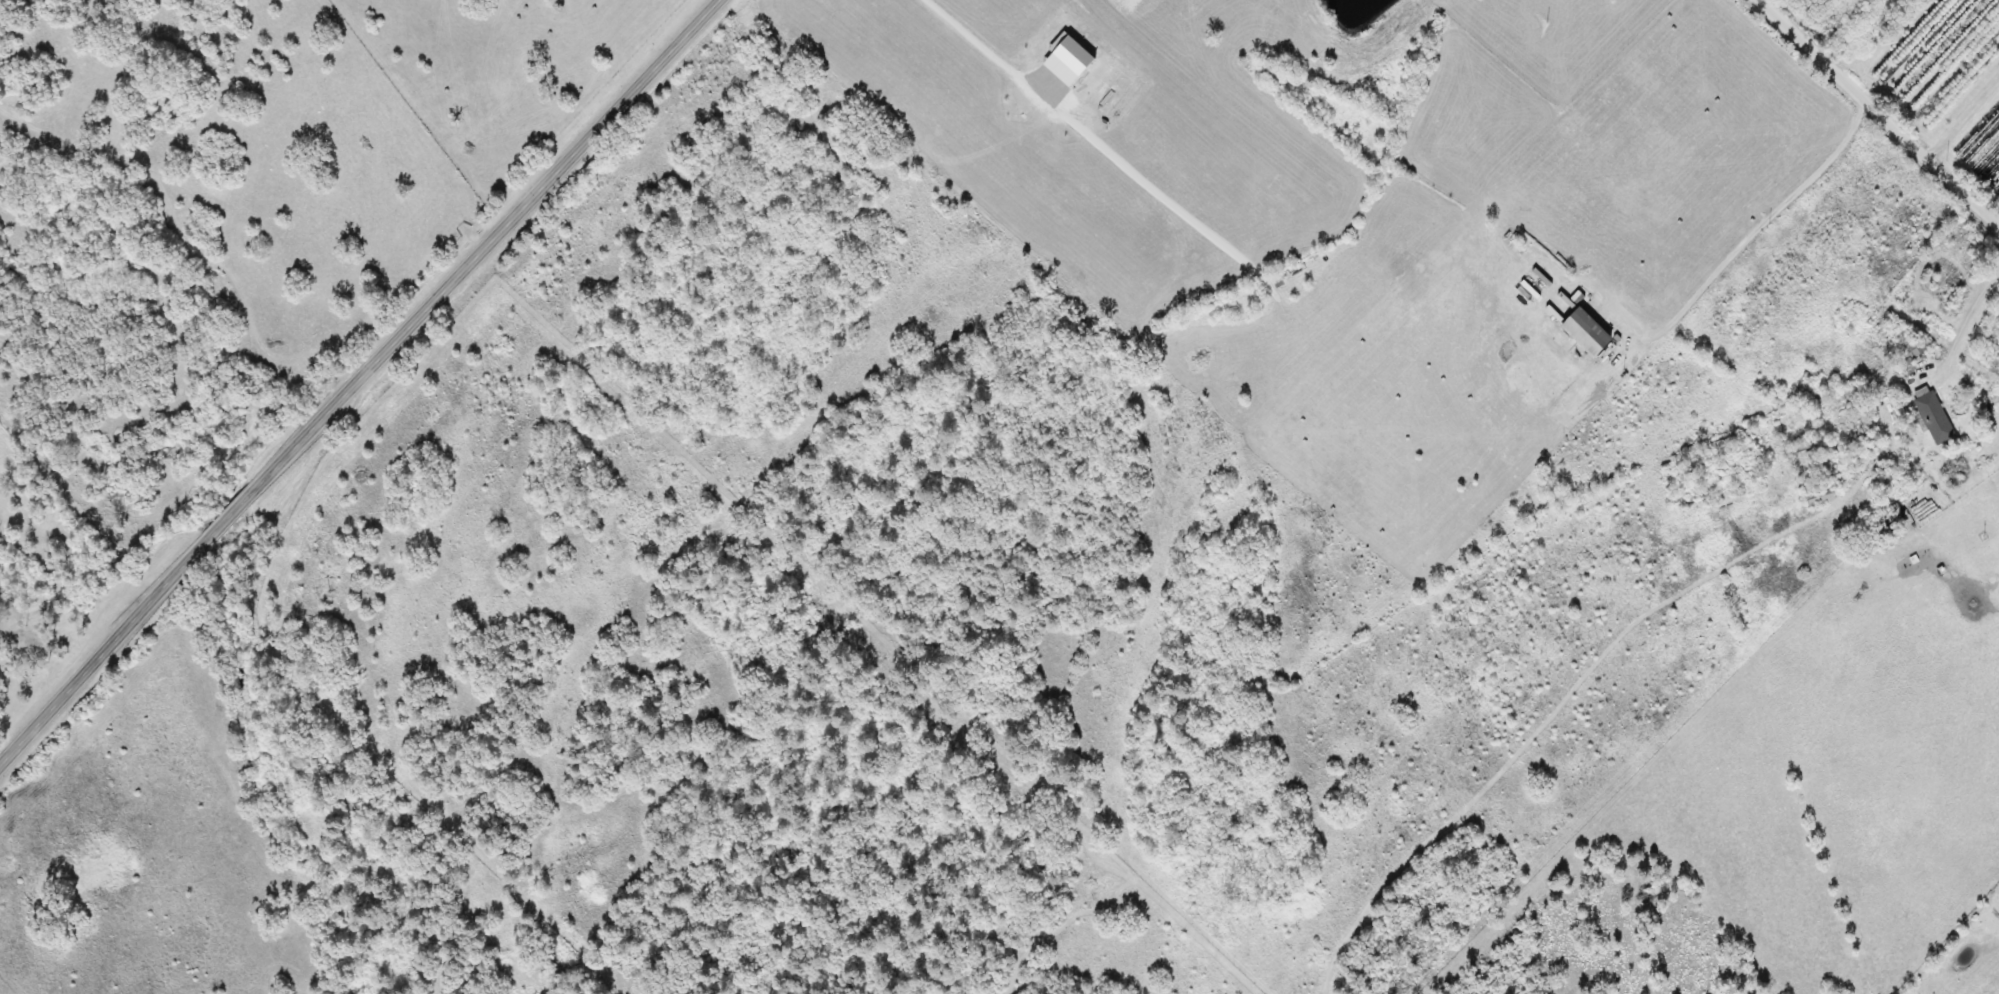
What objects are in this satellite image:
road: (1877, 113)
road: (1963, 118)
building: (1903, 344)
road: (355, 379)
building: (1929, 416)
building: (1816, 495)

